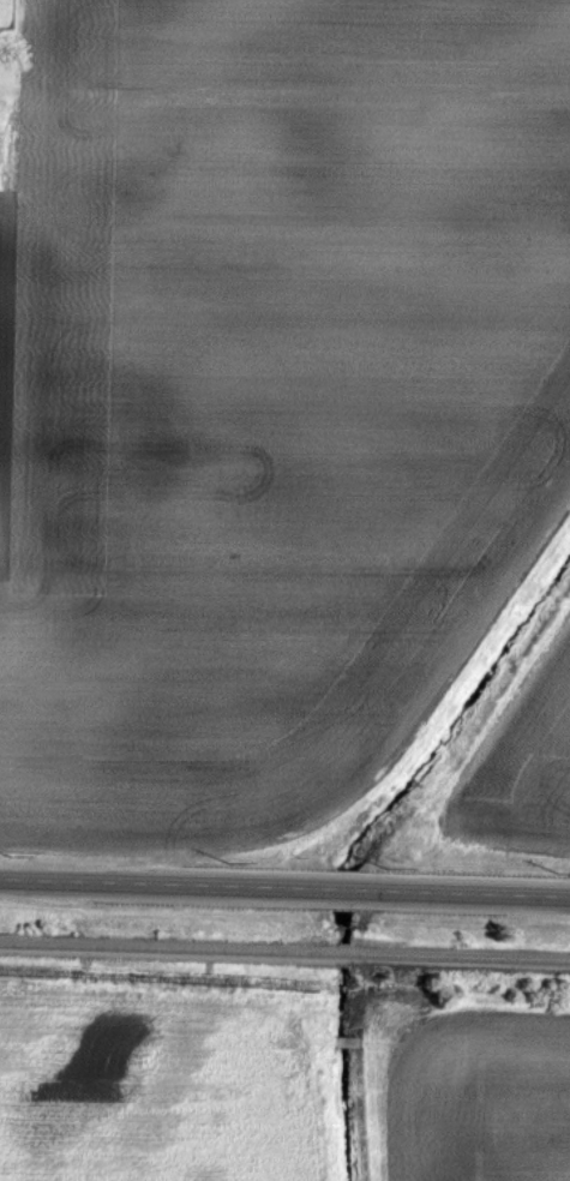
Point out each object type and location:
road: (284, 888)
railway: (284, 959)

